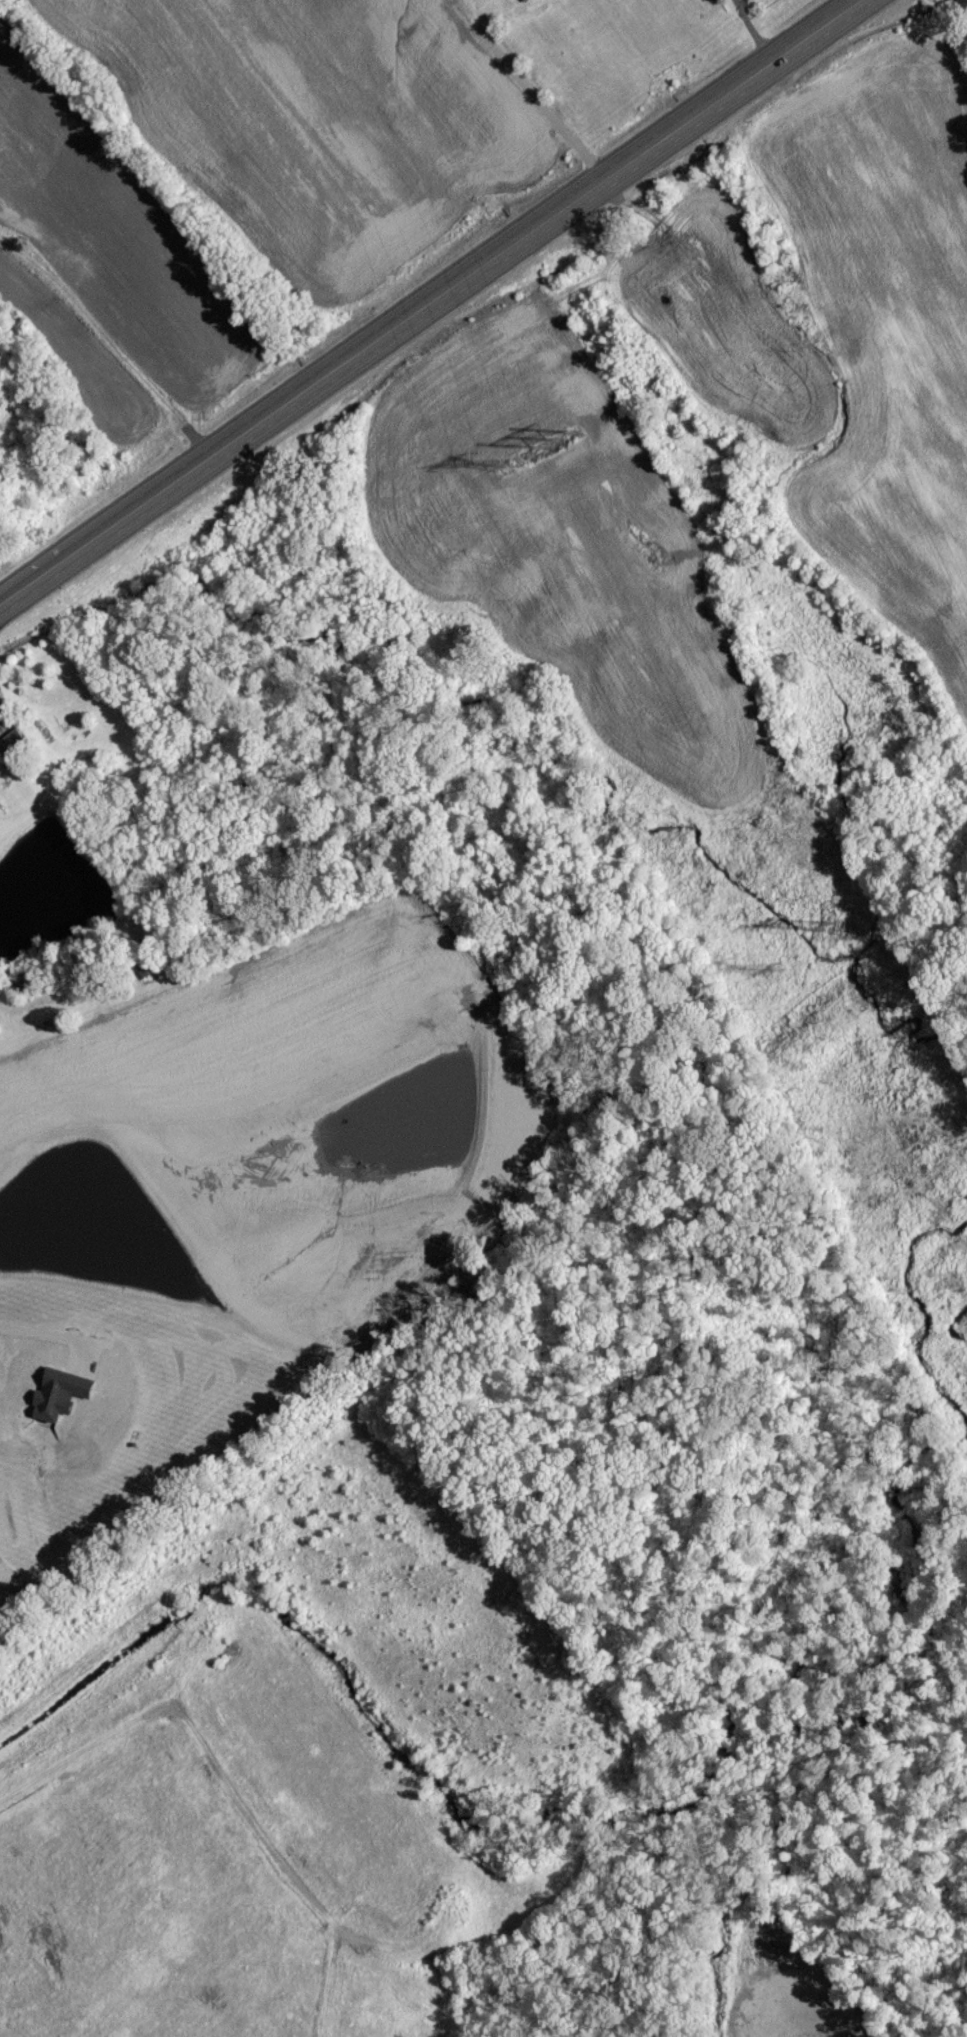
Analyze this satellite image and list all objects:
building: (531, 2)
road: (544, 113)
road: (431, 304)
power tower: (564, 446)
power tower: (512, 472)
building: (14, 750)
power tower: (828, 933)
power tower: (779, 976)

